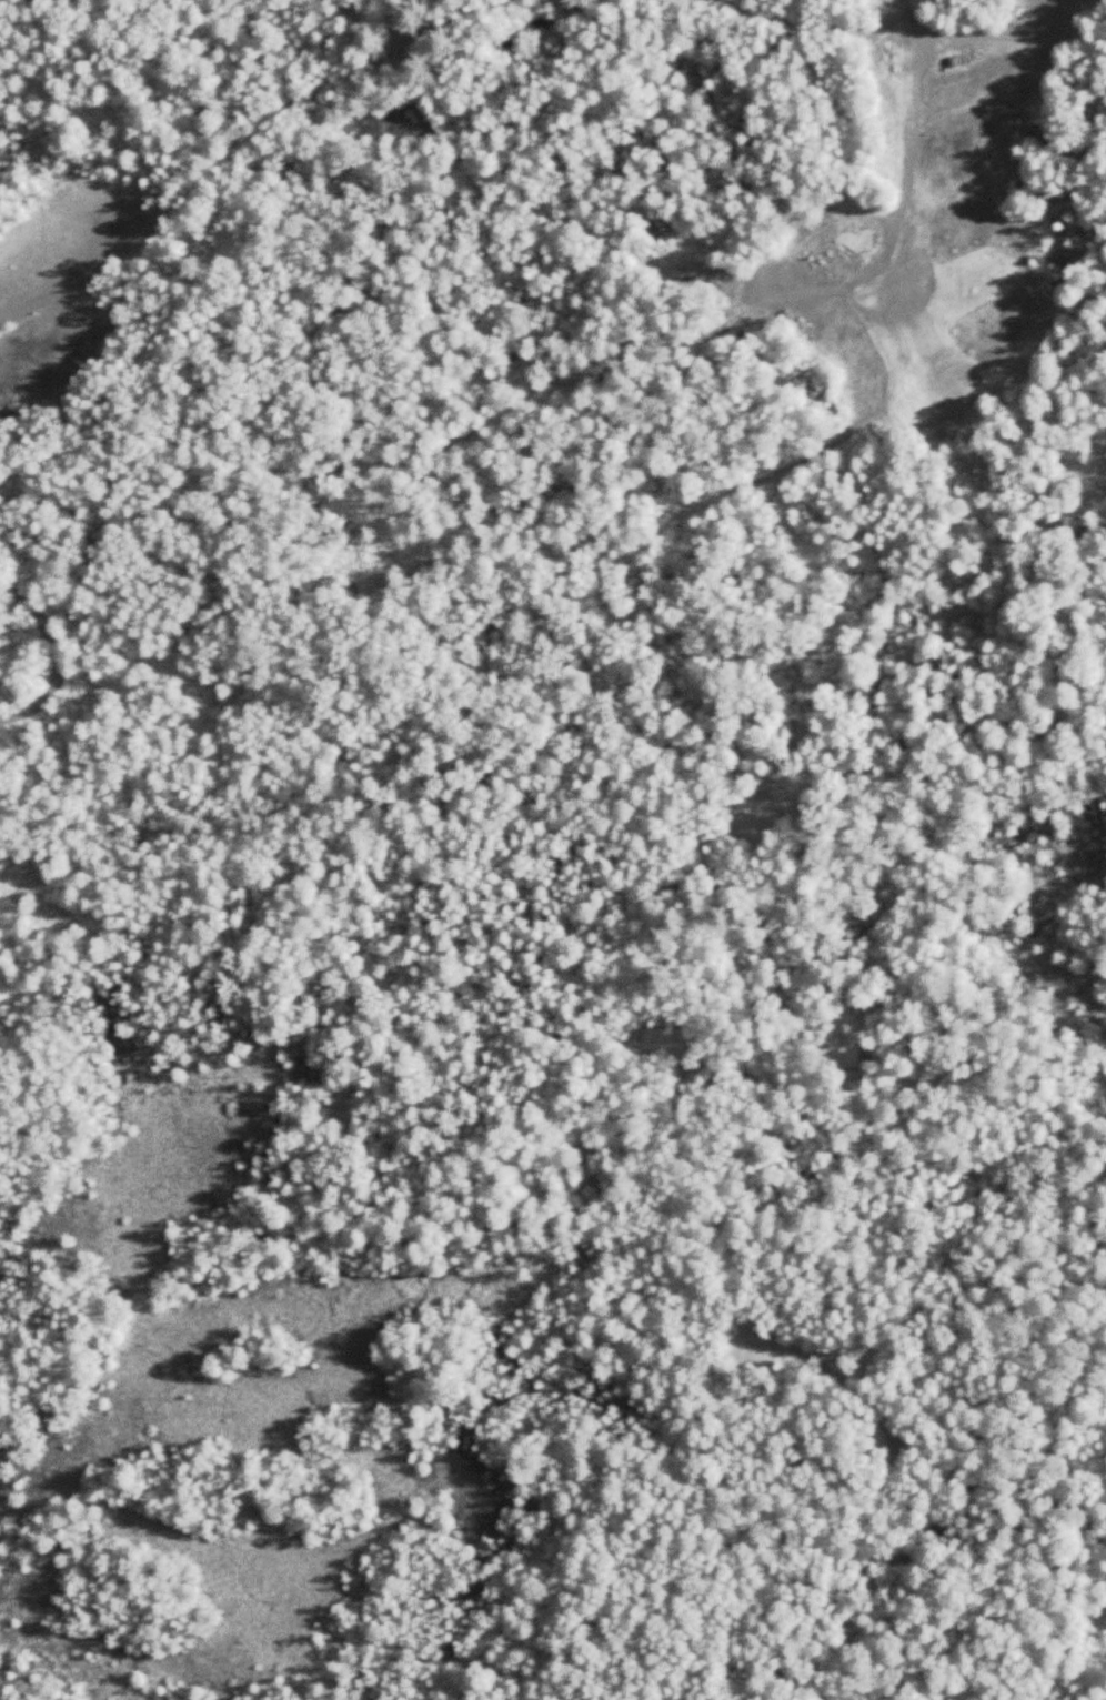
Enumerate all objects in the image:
road: (48, 271)

